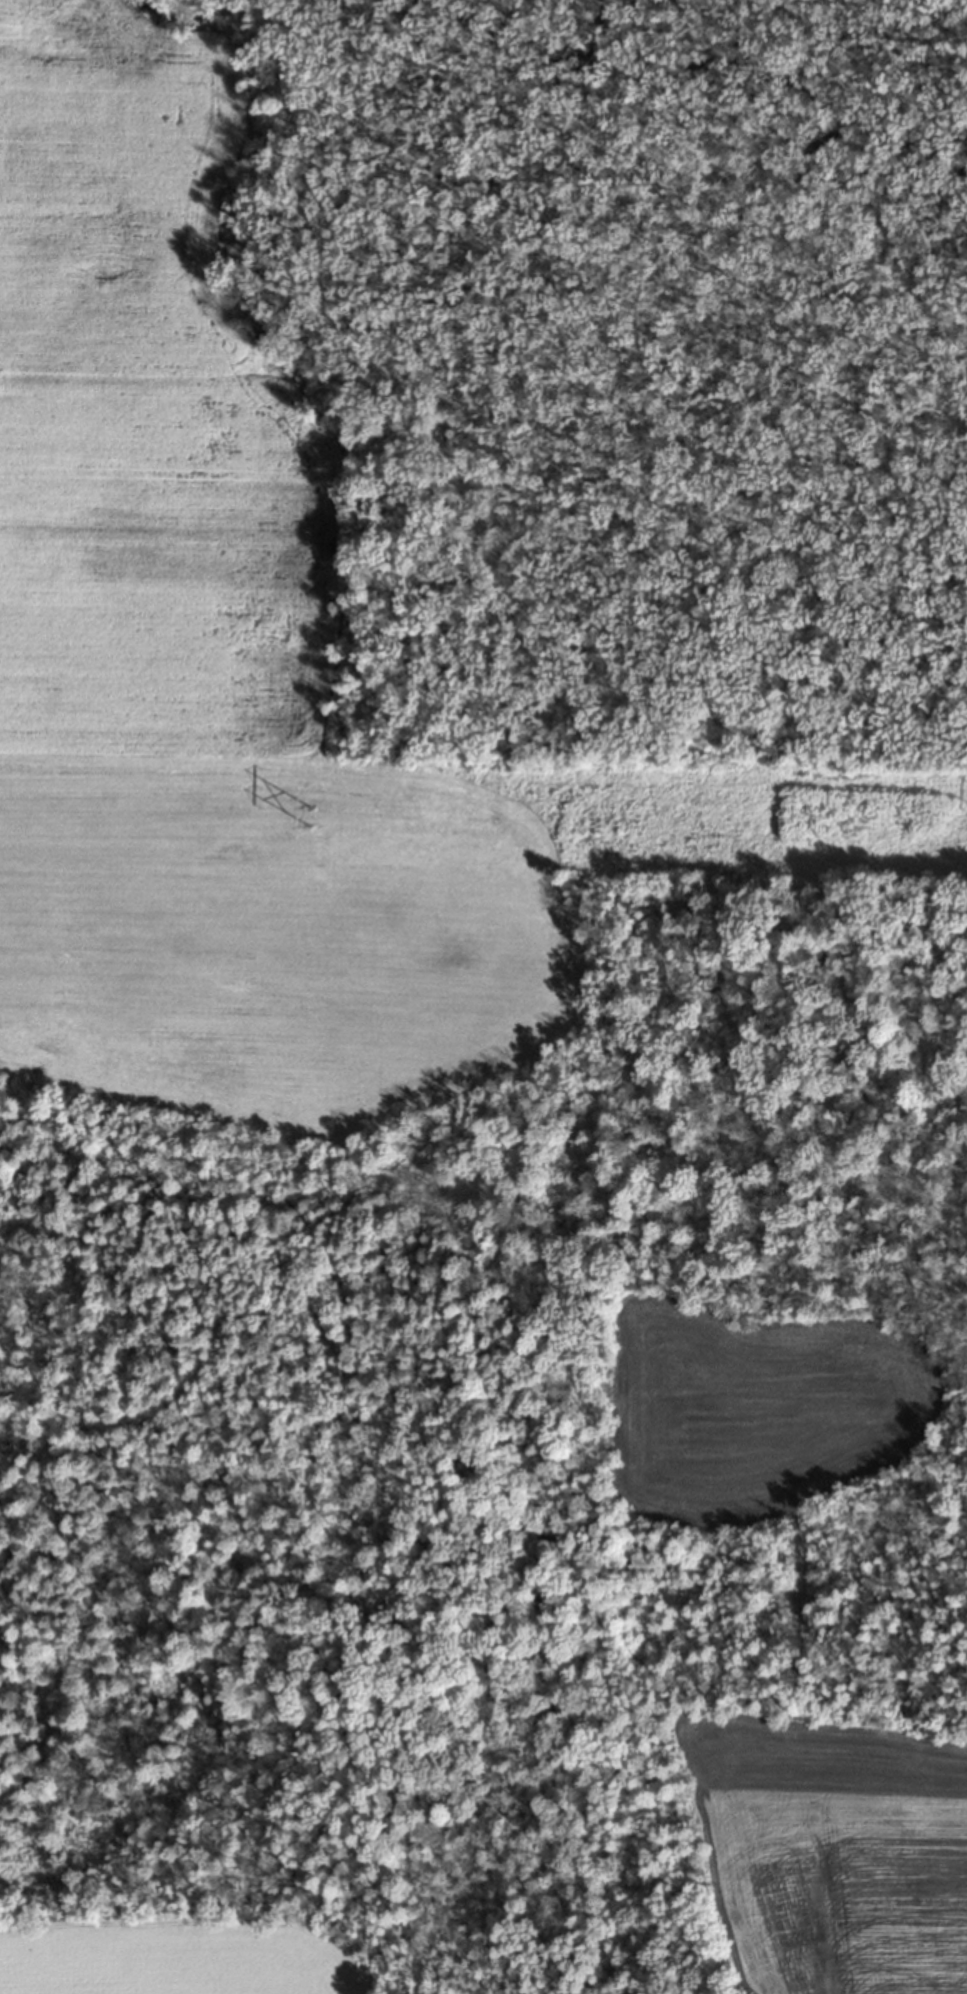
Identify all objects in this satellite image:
power tower: (309, 814)

